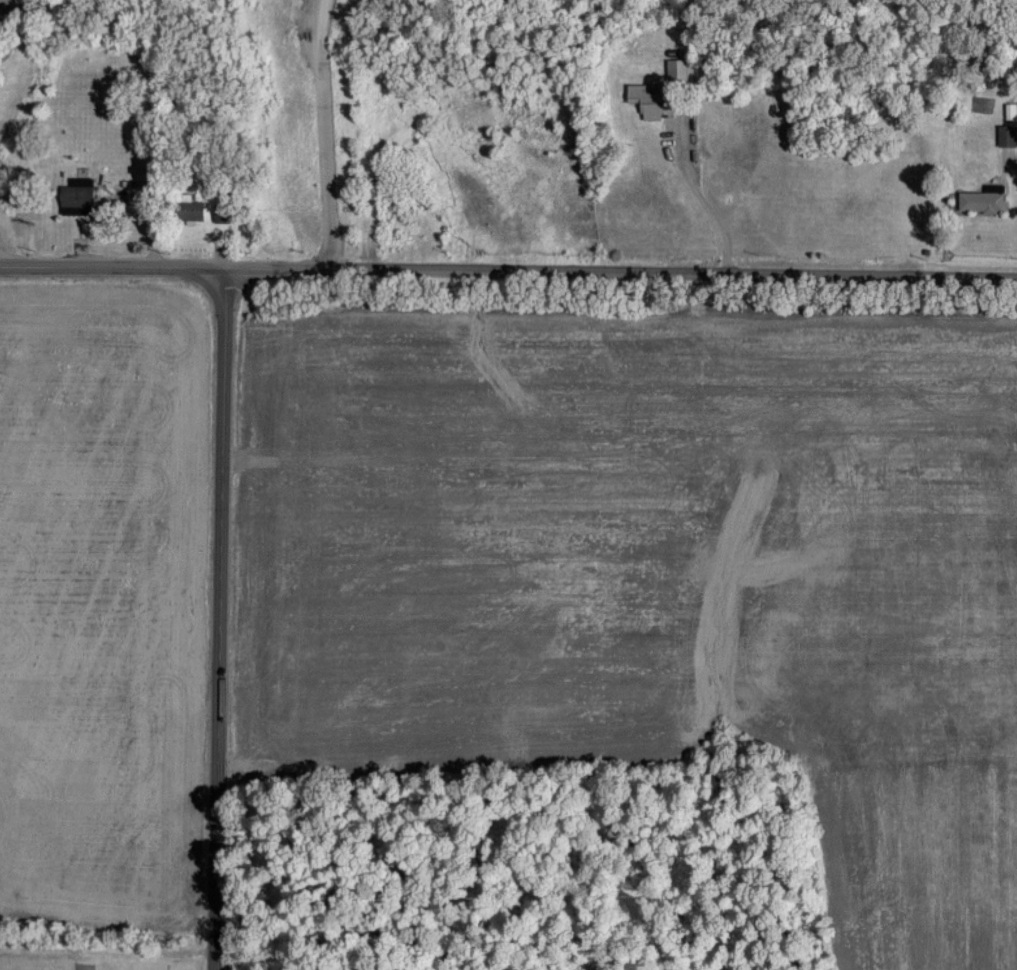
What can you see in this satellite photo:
building: (679, 68)
building: (644, 99)
building: (1010, 110)
building: (1005, 134)
building: (75, 195)
road: (702, 196)
building: (982, 198)
building: (188, 209)
road: (113, 269)
road: (622, 271)
road: (221, 619)

